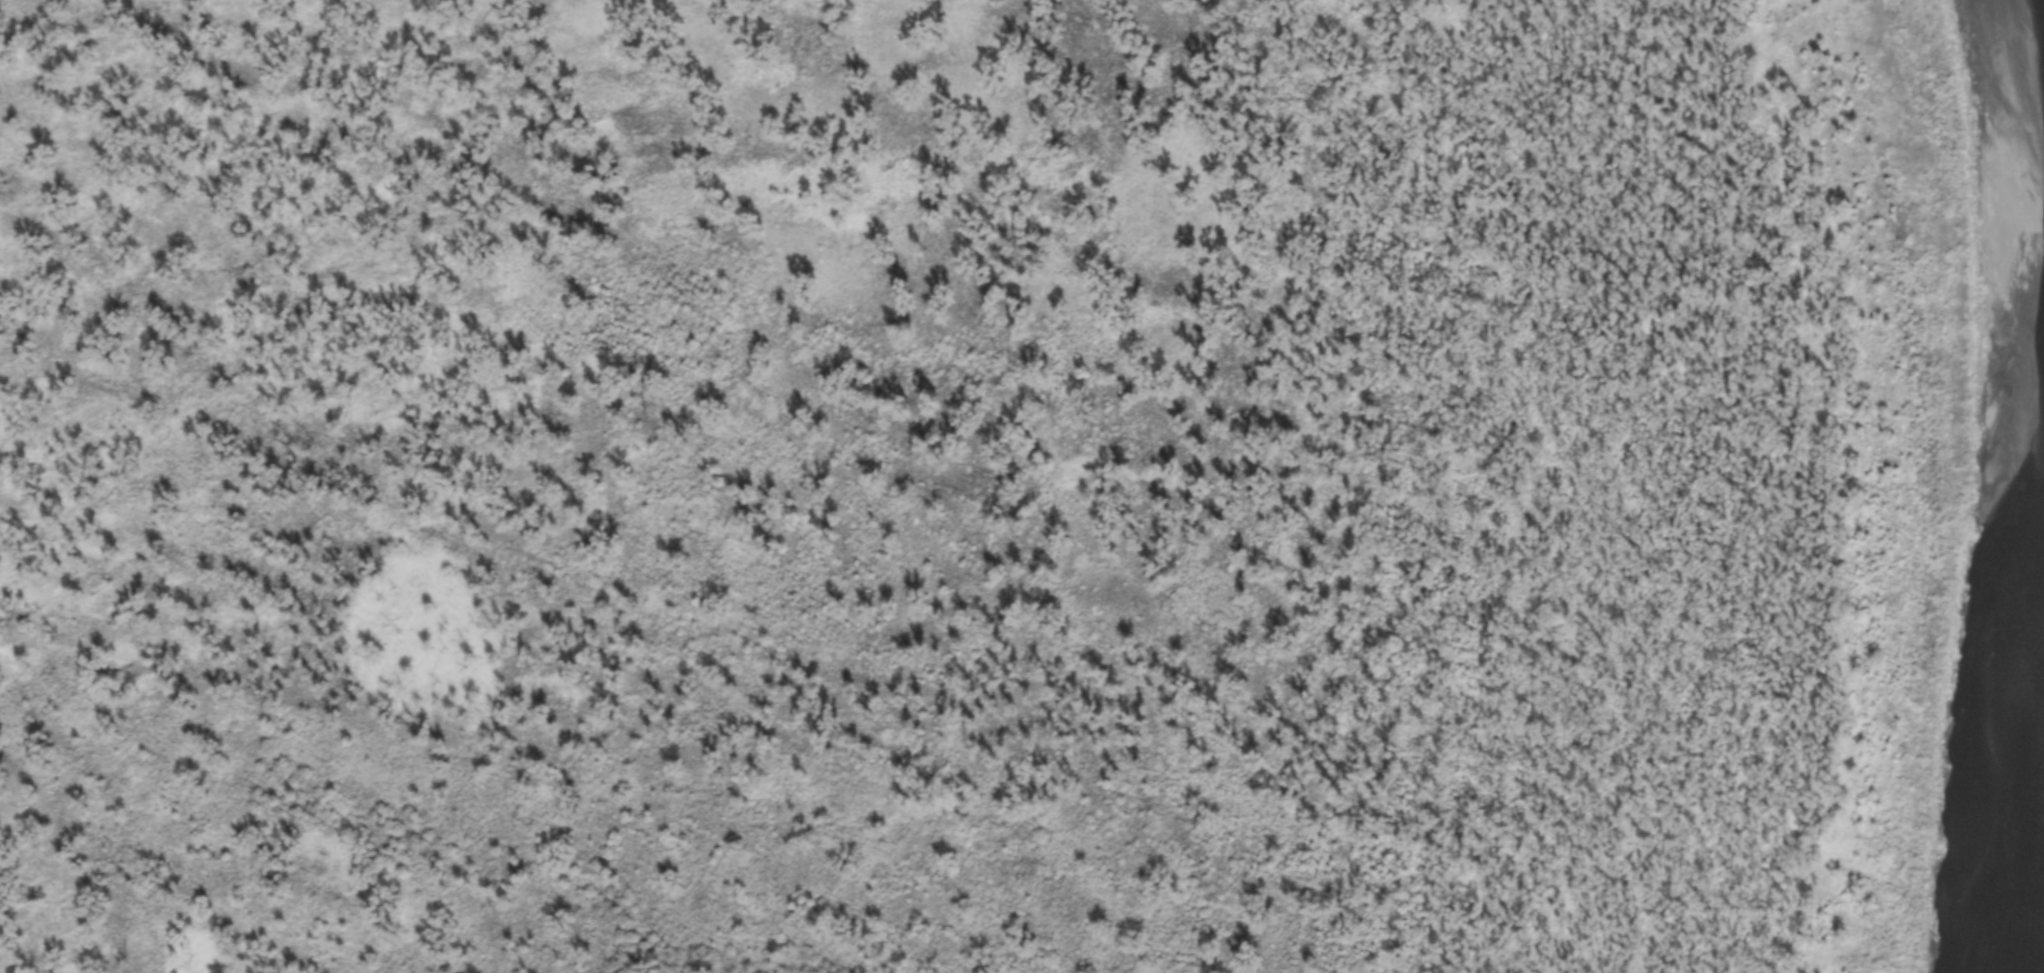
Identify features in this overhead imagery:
river: (2018, 152)
river: (2034, 929)

